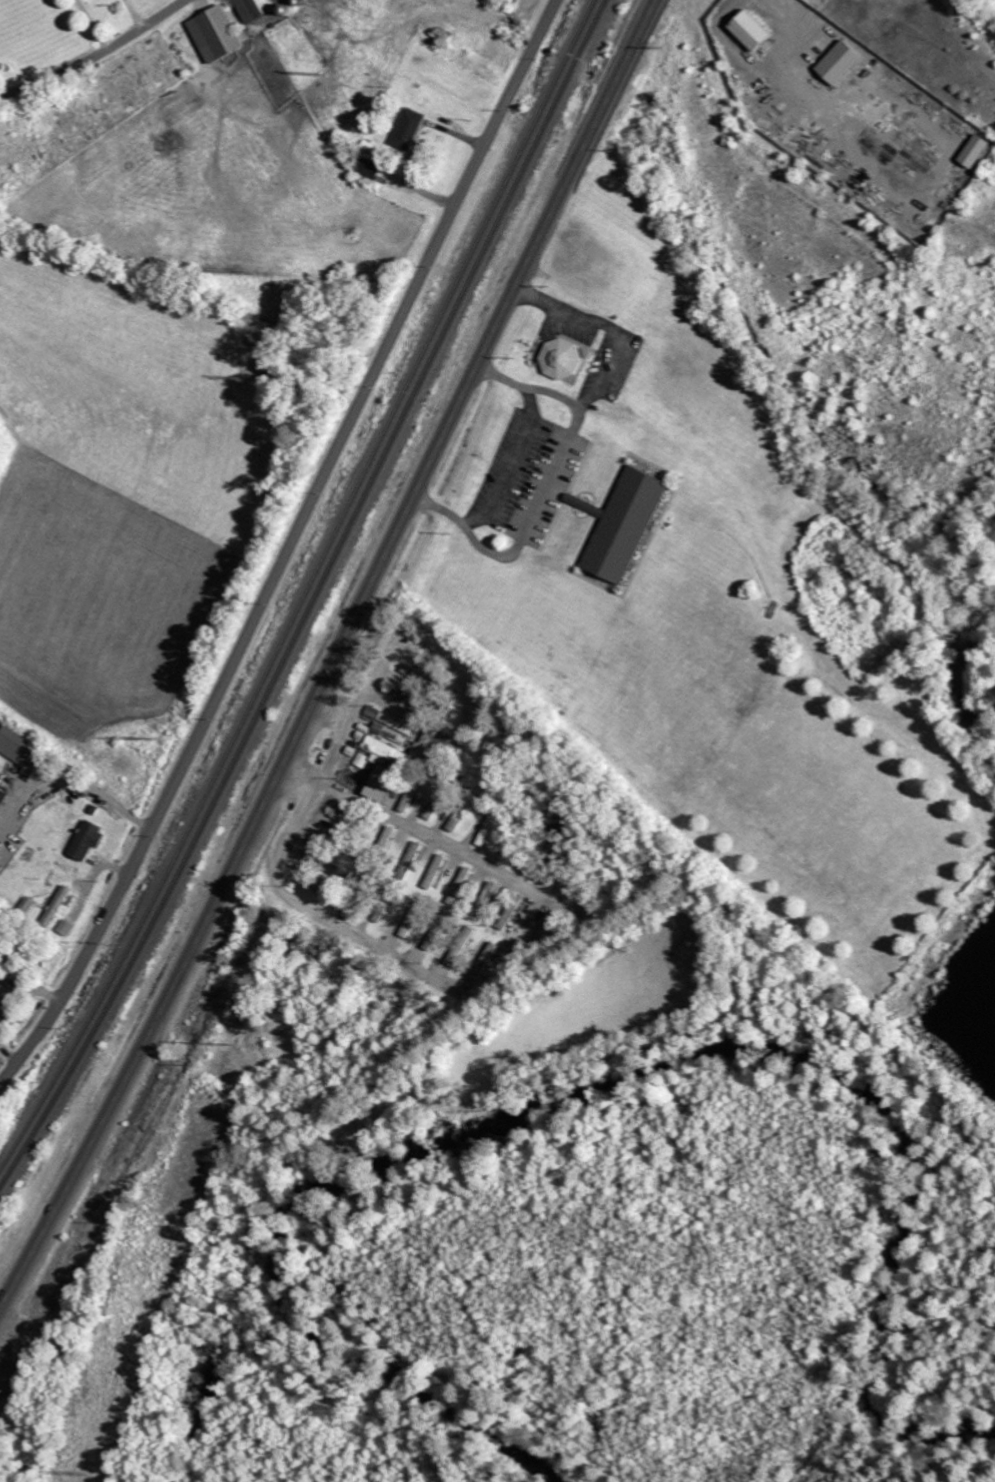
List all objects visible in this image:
building: (262, 8)
building: (755, 30)
building: (218, 33)
road: (95, 54)
building: (843, 62)
building: (411, 129)
building: (979, 151)
building: (564, 359)
building: (630, 525)
road: (290, 547)
railway: (308, 591)
railway: (315, 600)
road: (335, 656)
building: (17, 747)
building: (388, 750)
building: (385, 784)
building: (3, 796)
building: (459, 821)
building: (87, 841)
building: (437, 871)
building: (463, 886)
building: (494, 891)
building: (57, 906)
building: (485, 909)
building: (65, 928)
building: (6, 997)
river: (599, 1069)

